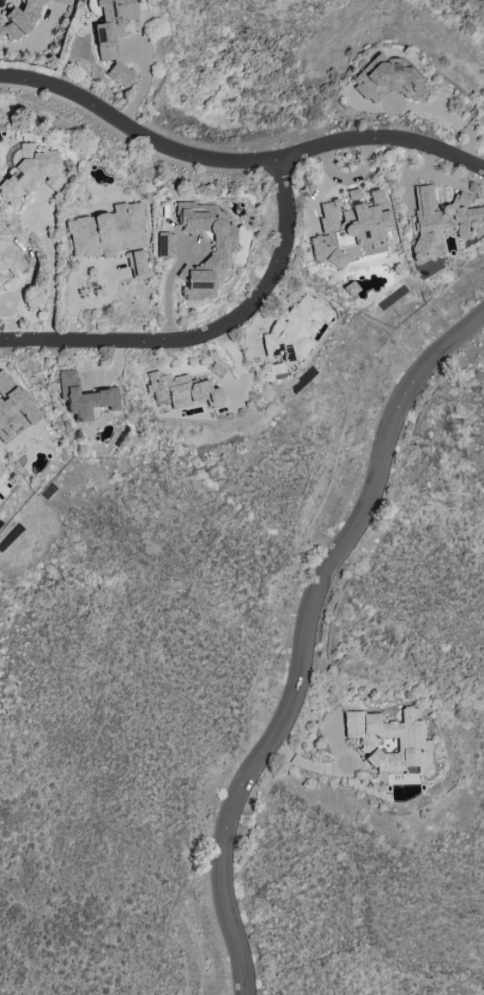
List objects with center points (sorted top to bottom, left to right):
building: (22, 17)
building: (112, 36)
building: (385, 80)
road: (144, 81)
road: (451, 117)
road: (236, 159)
building: (30, 171)
building: (441, 220)
building: (351, 229)
building: (106, 231)
building: (165, 245)
building: (220, 249)
building: (8, 256)
building: (136, 264)
road: (49, 272)
road: (167, 289)
building: (293, 329)
road: (209, 331)
building: (274, 368)
building: (182, 390)
building: (85, 397)
building: (12, 409)
building: (1, 469)
road: (306, 637)
building: (390, 741)

